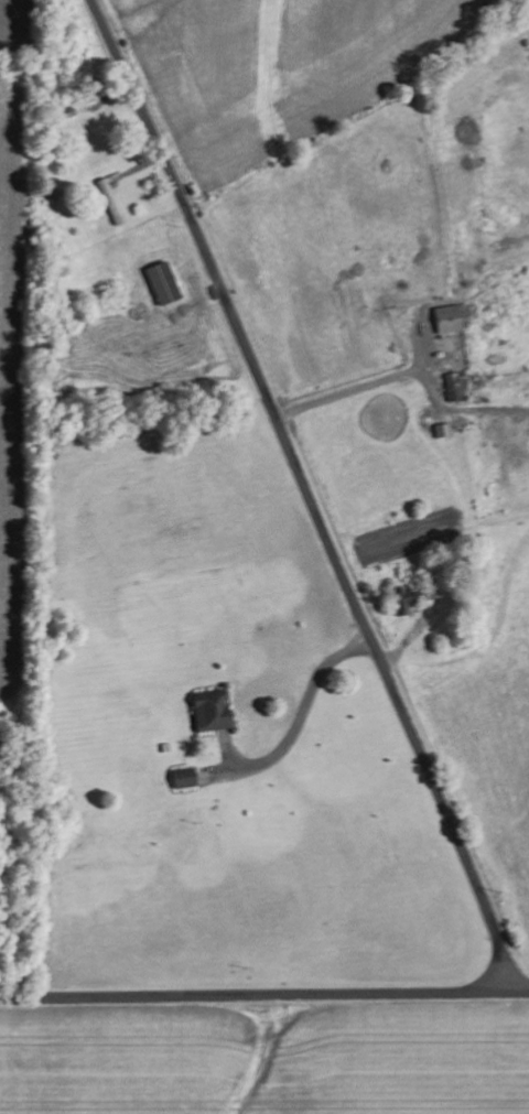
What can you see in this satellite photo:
building: (110, 205)
building: (445, 317)
building: (440, 429)
road: (307, 493)
building: (198, 721)
building: (182, 778)
road: (518, 991)
road: (253, 994)

